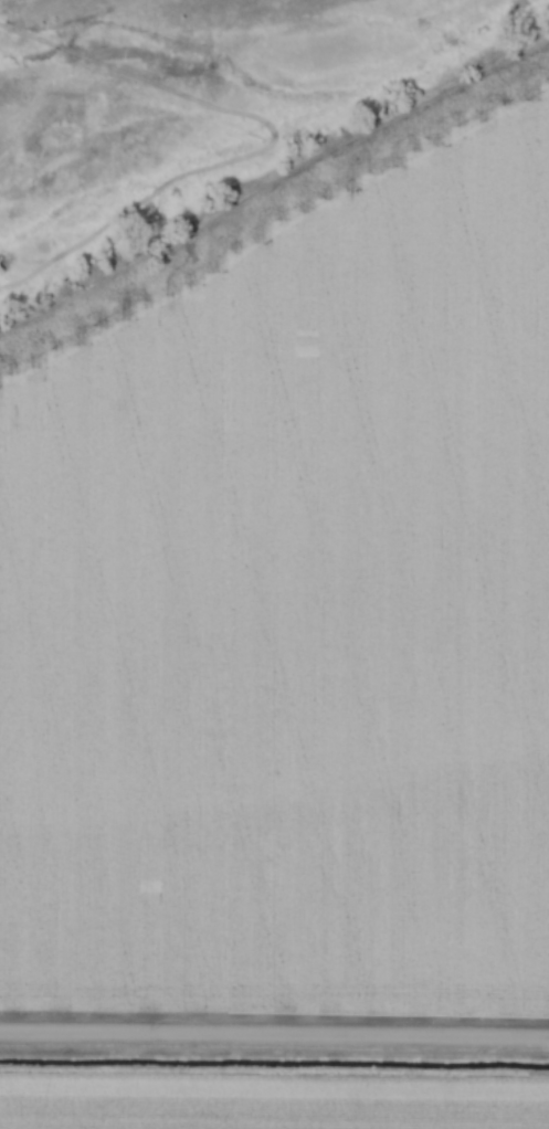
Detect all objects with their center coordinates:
road: (274, 1033)

